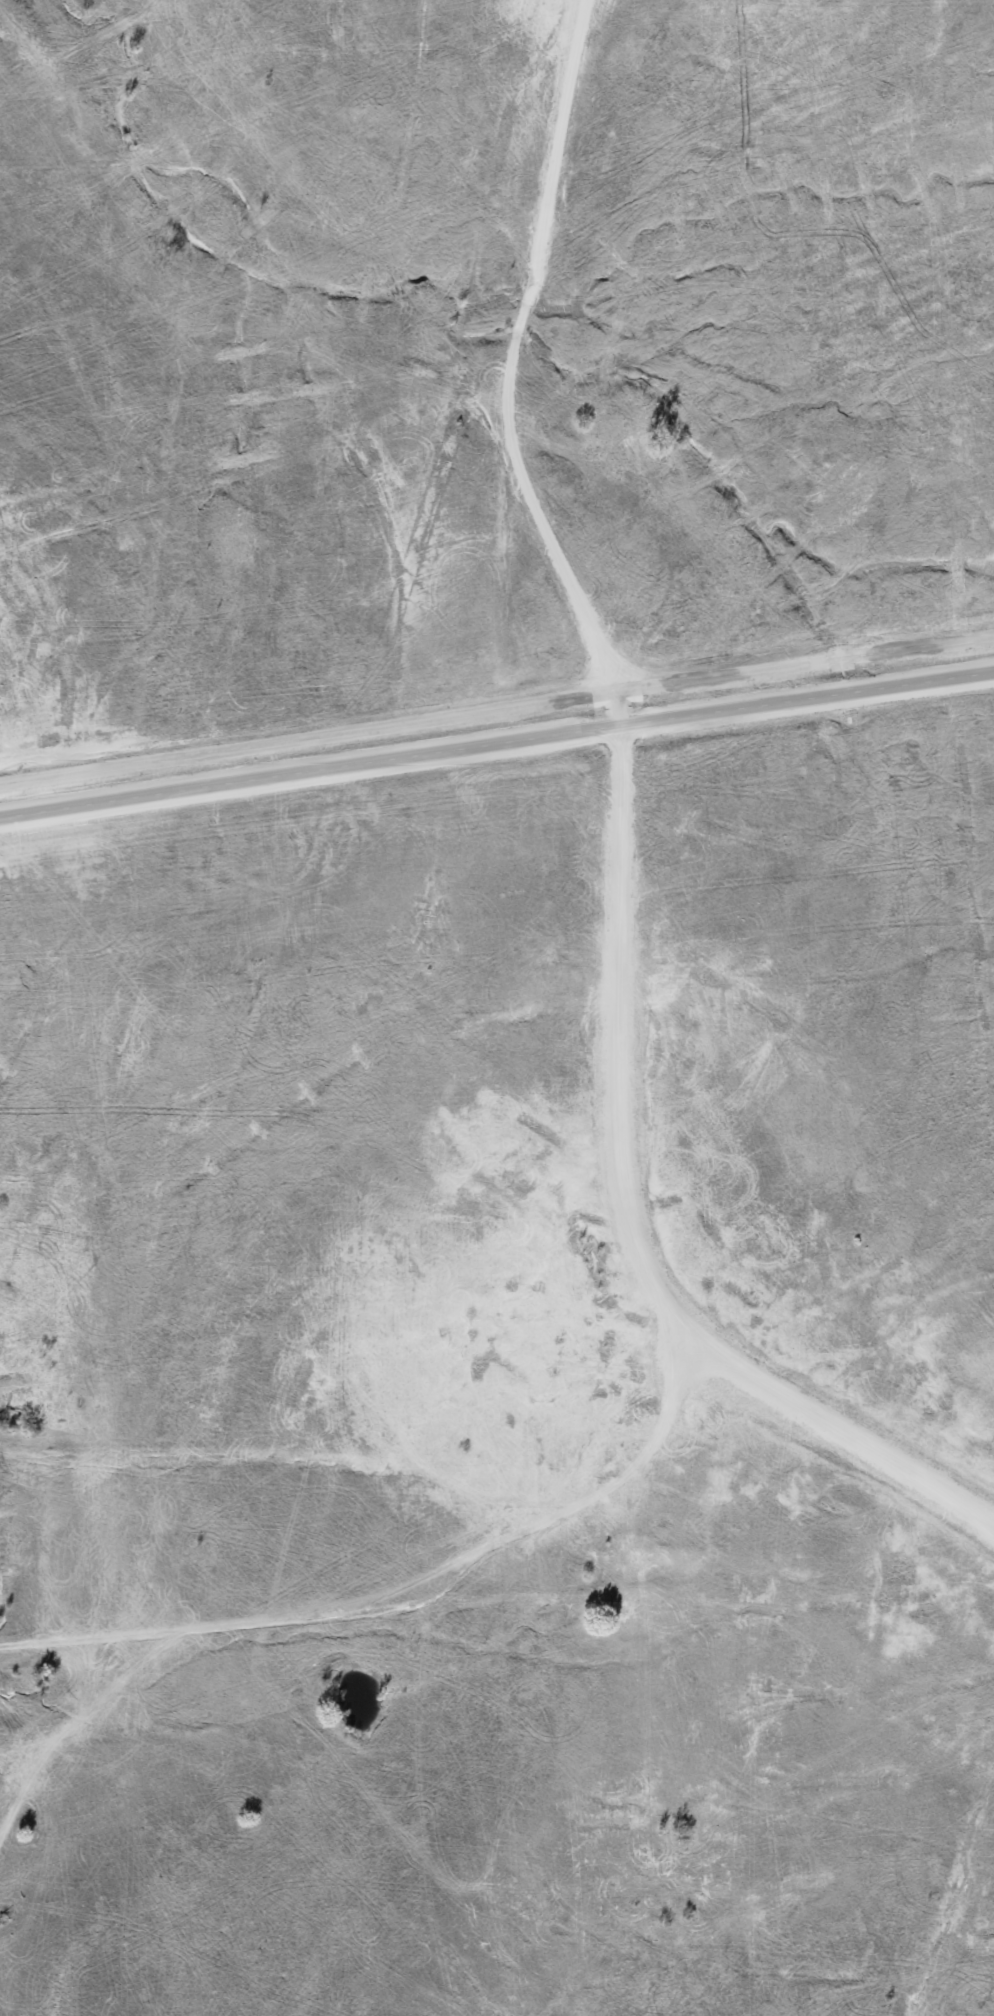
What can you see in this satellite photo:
road: (609, 690)
road: (496, 709)
road: (496, 745)

